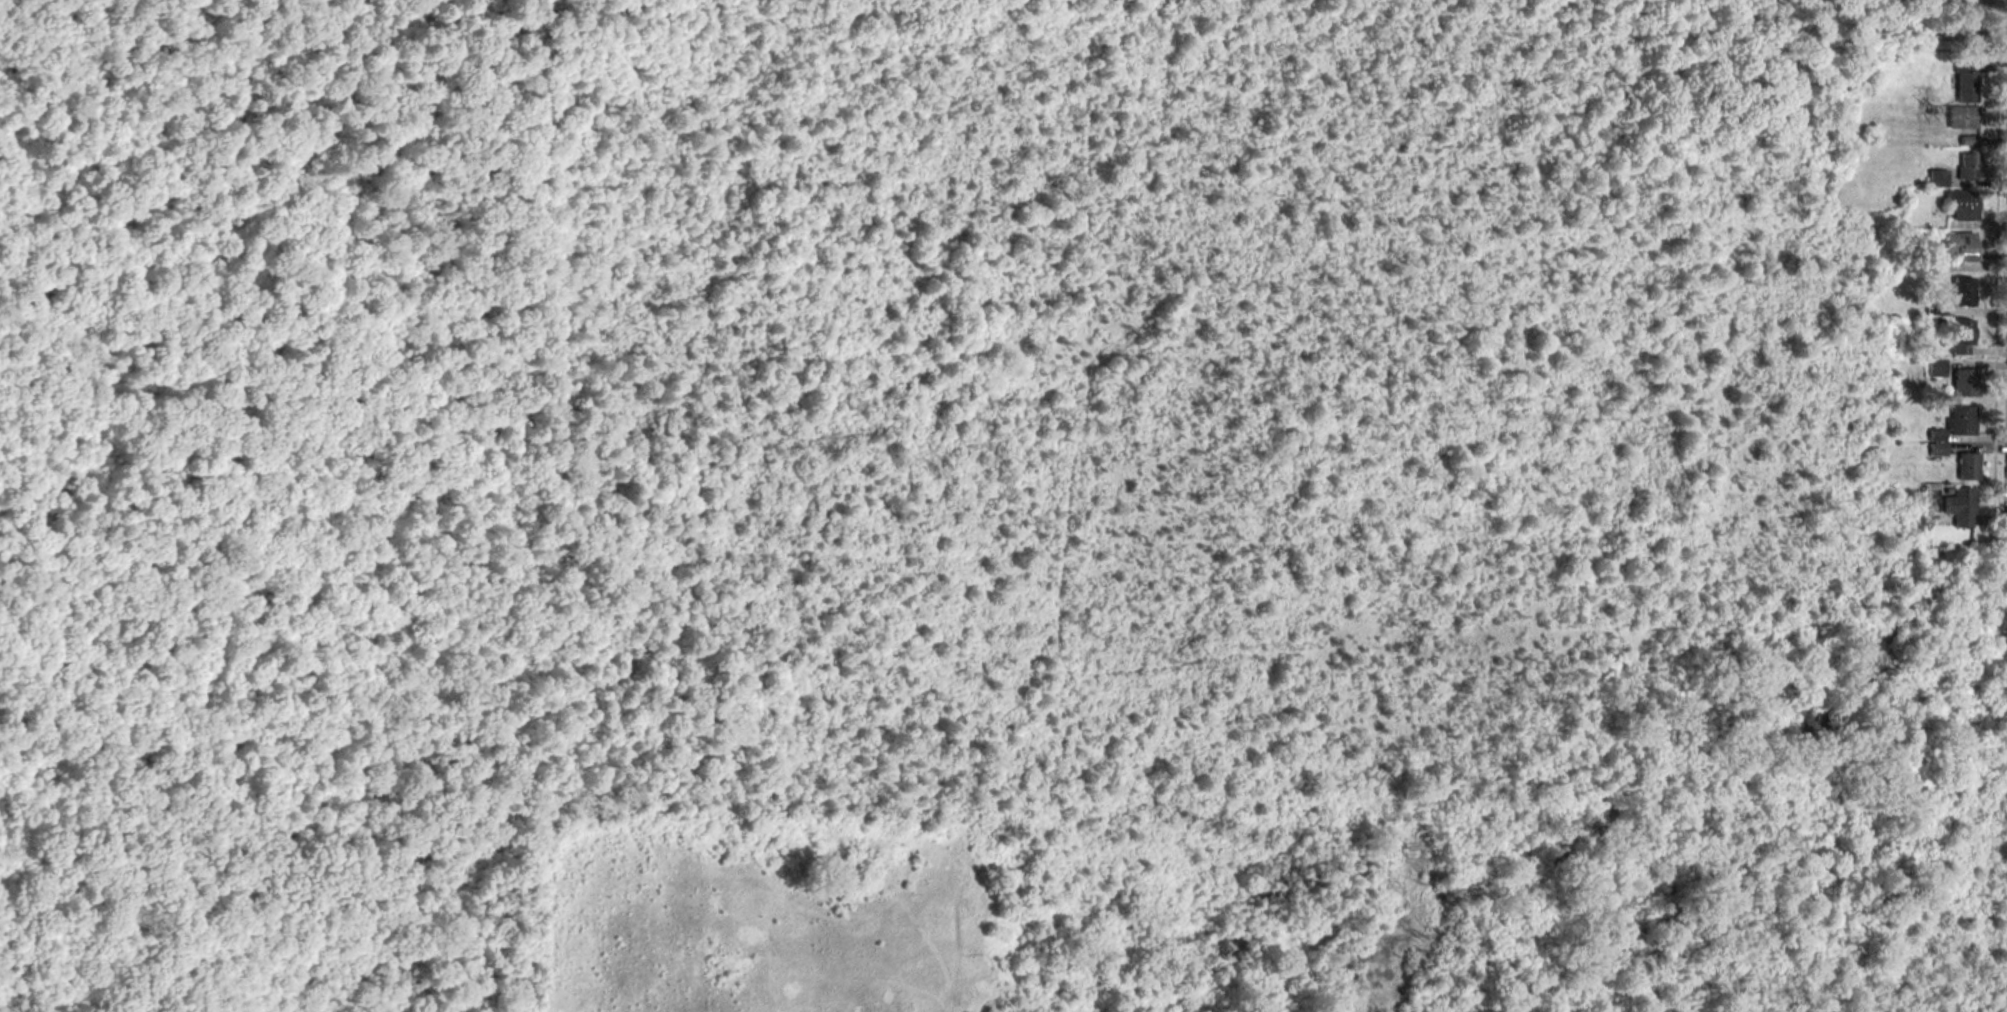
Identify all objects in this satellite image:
road: (1956, 36)
building: (1966, 83)
building: (1962, 118)
building: (1968, 141)
building: (1970, 167)
building: (1961, 206)
building: (1962, 247)
building: (1963, 292)
building: (1961, 338)
building: (1962, 384)
building: (1960, 421)
building: (1966, 467)
building: (1958, 507)

